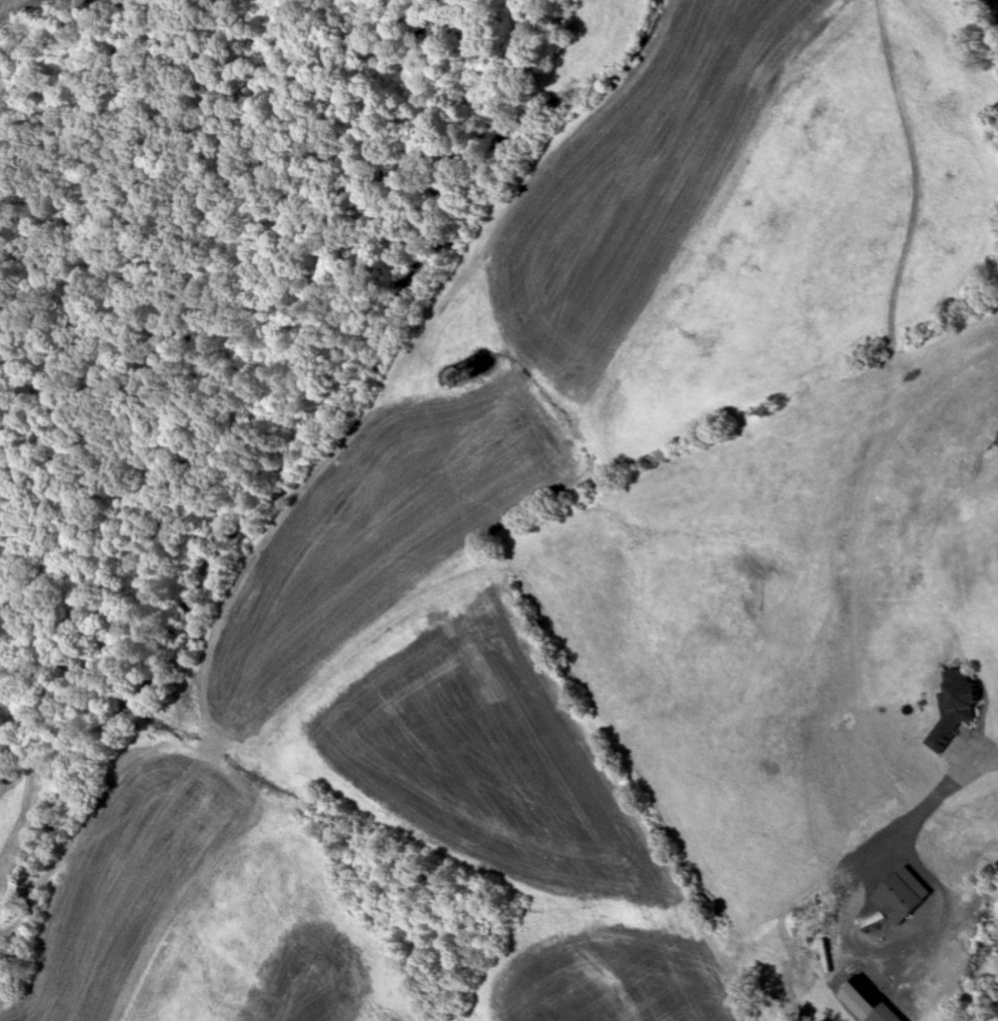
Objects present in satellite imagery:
building: (955, 708)
road: (948, 794)
building: (895, 894)

